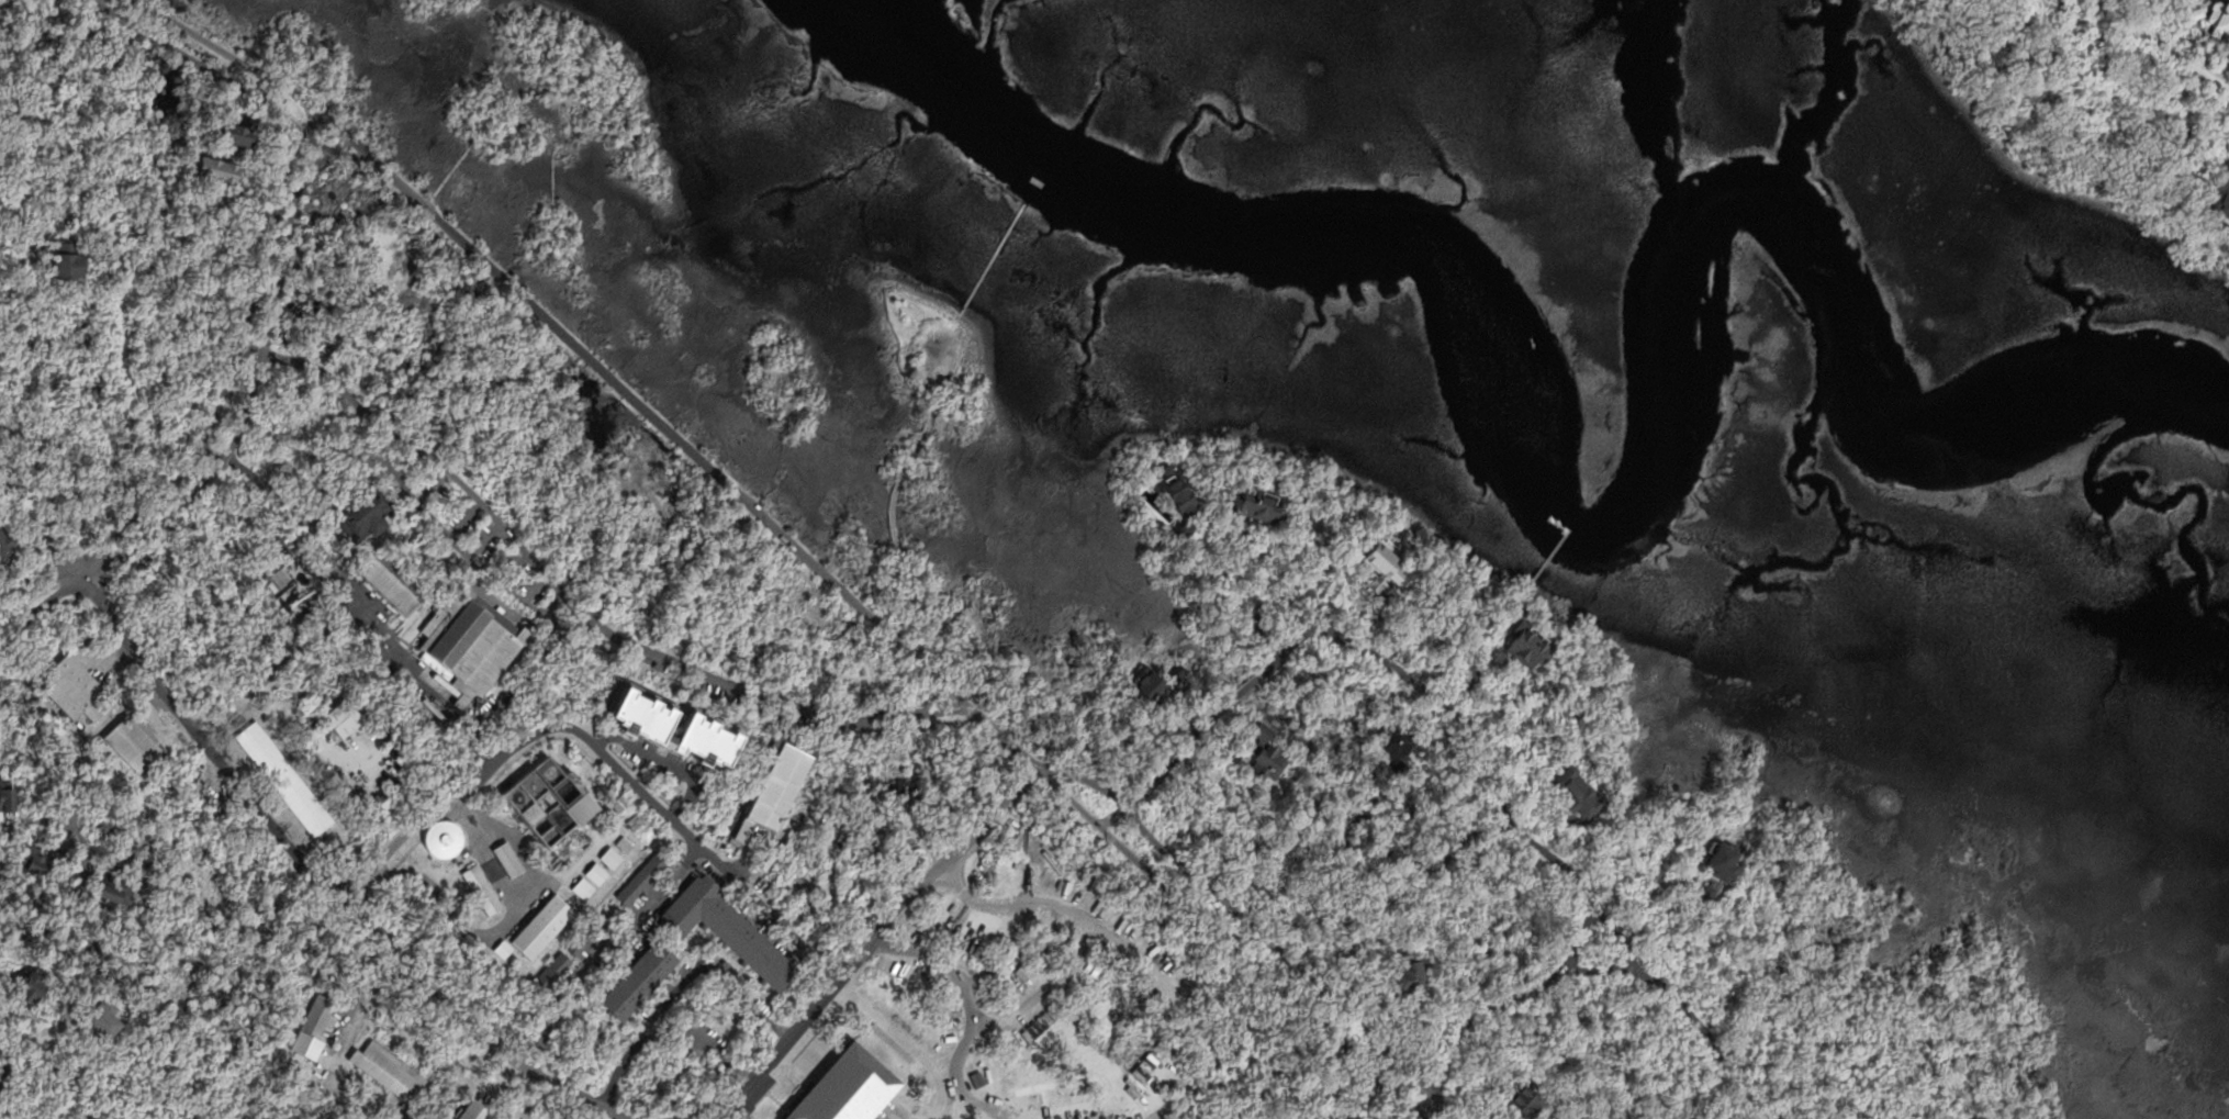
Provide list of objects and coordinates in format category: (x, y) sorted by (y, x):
road: (433, 12)
building: (2210, 22)
road: (2158, 48)
road: (235, 56)
road: (69, 66)
road: (212, 70)
road: (494, 97)
building: (242, 134)
road: (556, 156)
building: (225, 168)
building: (2215, 202)
building: (64, 261)
building: (947, 343)
road: (237, 360)
road: (936, 369)
road: (255, 374)
road: (933, 413)
road: (682, 440)
road: (910, 459)
road: (408, 461)
road: (435, 486)
building: (1168, 493)
building: (1251, 510)
building: (370, 514)
road: (467, 518)
road: (894, 530)
road: (483, 539)
road: (458, 545)
building: (7, 549)
building: (281, 579)
building: (394, 582)
road: (64, 589)
road: (574, 604)
road: (21, 612)
road: (906, 613)
road: (27, 636)
building: (472, 642)
building: (1524, 647)
road: (401, 649)
road: (277, 664)
building: (76, 687)
road: (168, 694)
building: (346, 717)
building: (652, 724)
building: (1390, 739)
road: (1470, 742)
building: (142, 748)
building: (1258, 760)
road: (665, 762)
road: (1085, 776)
building: (773, 788)
building: (9, 792)
building: (1568, 792)
building: (559, 801)
building: (632, 810)
road: (59, 819)
road: (676, 820)
road: (516, 837)
building: (446, 839)
storage tank: (446, 839)
road: (489, 854)
building: (43, 859)
building: (512, 859)
road: (1427, 861)
building: (1710, 872)
building: (1072, 875)
building: (1020, 876)
building: (646, 877)
building: (120, 887)
building: (81, 891)
building: (486, 891)
building: (546, 925)
road: (505, 926)
building: (590, 930)
building: (735, 932)
road: (1224, 941)
road: (602, 947)
road: (1131, 952)
road: (1624, 952)
road: (866, 953)
road: (414, 961)
road: (1293, 963)
building: (558, 969)
building: (1397, 975)
building: (646, 978)
building: (1011, 983)
road: (1656, 983)
road: (681, 984)
building: (37, 988)
road: (1042, 991)
building: (322, 1016)
road: (972, 1020)
building: (1043, 1022)
road: (410, 1034)
road: (714, 1036)
building: (390, 1071)
road: (838, 1086)
road: (1394, 1096)
building: (1524, 1098)
road: (1859, 1105)
building: (480, 1109)
building: (366, 1115)

